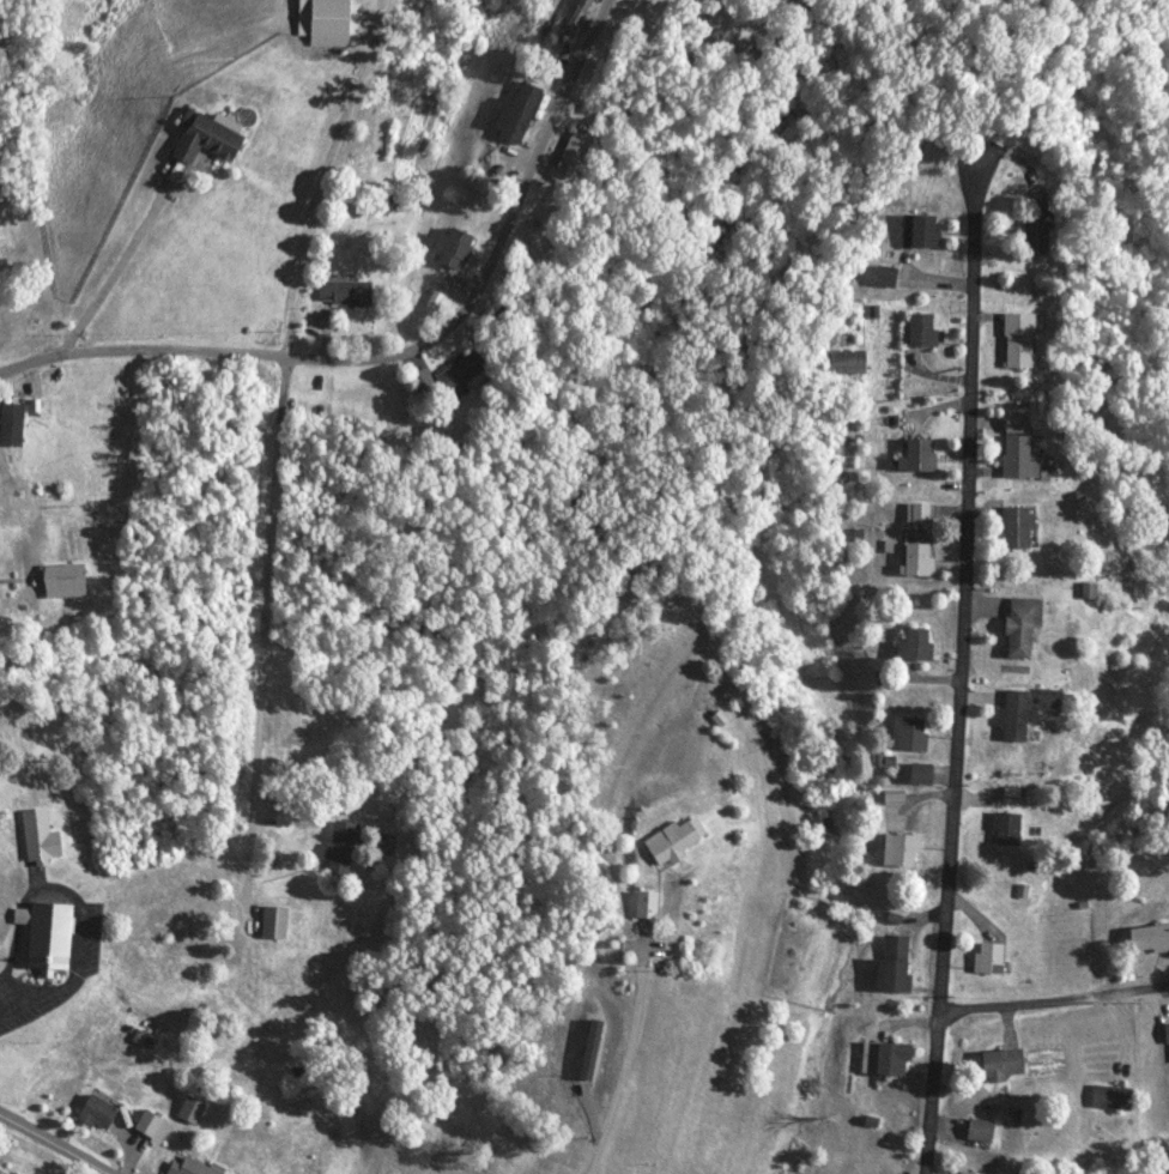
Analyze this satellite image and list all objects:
building: (546, 7)
building: (331, 24)
building: (522, 114)
building: (210, 140)
building: (921, 231)
building: (1036, 234)
building: (456, 248)
road: (111, 268)
building: (886, 276)
building: (346, 292)
building: (434, 303)
building: (922, 329)
building: (1020, 340)
road: (404, 343)
building: (848, 362)
building: (462, 373)
building: (12, 423)
building: (1018, 446)
building: (917, 458)
building: (919, 514)
building: (1019, 527)
building: (920, 559)
building: (66, 581)
building: (1090, 587)
building: (1023, 625)
building: (916, 646)
building: (1050, 701)
building: (1018, 715)
building: (910, 734)
building: (921, 774)
building: (1006, 830)
building: (41, 839)
building: (672, 843)
building: (341, 848)
building: (901, 851)
building: (647, 906)
building: (275, 924)
building: (48, 938)
building: (1150, 940)
building: (991, 960)
building: (895, 964)
building: (1167, 1034)
road: (626, 1059)
building: (885, 1060)
building: (1003, 1065)
building: (1113, 1099)
building: (98, 1115)
building: (152, 1127)
building: (981, 1131)
road: (37, 1152)
building: (190, 1167)
building: (1, 1173)
building: (962, 1173)

